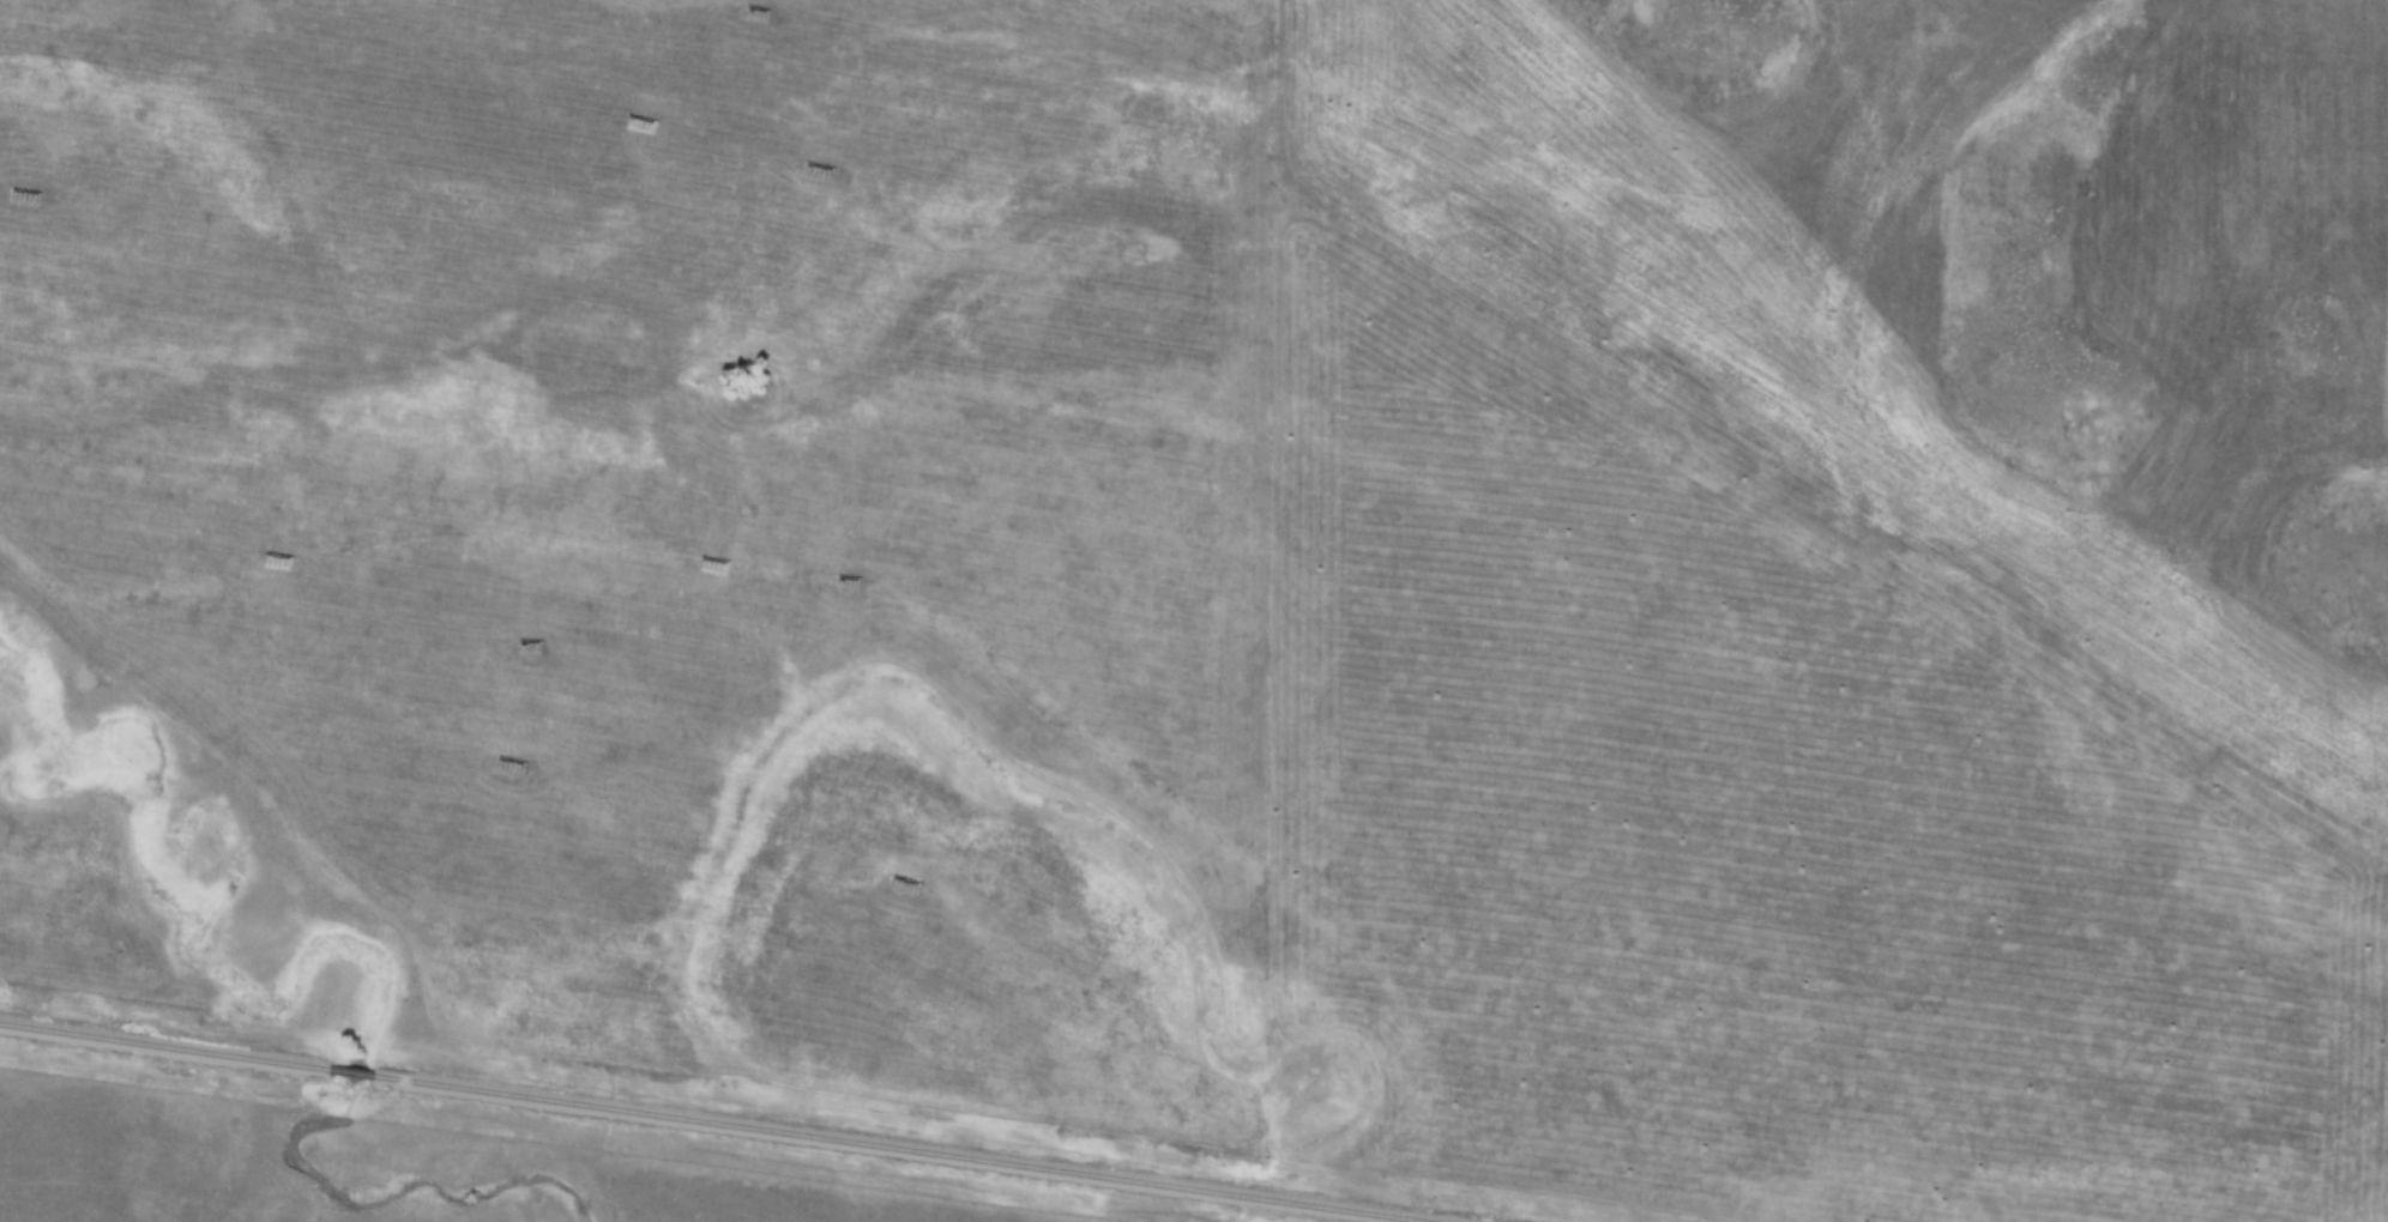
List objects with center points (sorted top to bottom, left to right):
railway: (164, 1046)
railway: (350, 1072)
railway: (900, 1149)

